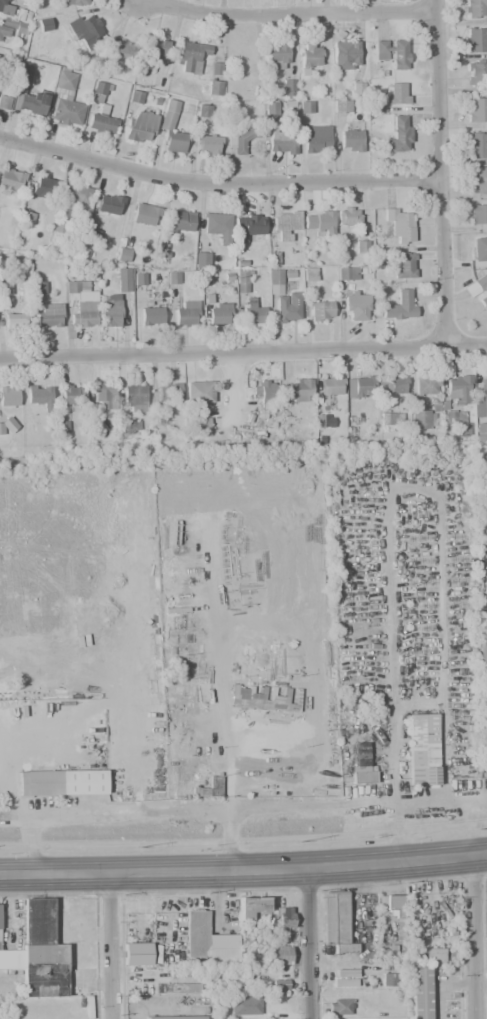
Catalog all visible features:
building: (79, 2)
building: (5, 8)
building: (474, 9)
road: (289, 14)
building: (44, 25)
building: (10, 26)
building: (84, 29)
building: (476, 40)
building: (156, 47)
building: (120, 51)
building: (392, 52)
building: (345, 55)
building: (190, 56)
building: (276, 56)
building: (310, 56)
building: (238, 60)
building: (476, 73)
building: (318, 82)
building: (285, 87)
building: (214, 88)
building: (97, 91)
building: (397, 93)
building: (28, 96)
building: (66, 100)
building: (4, 103)
building: (341, 106)
building: (476, 109)
building: (99, 119)
building: (140, 126)
building: (170, 128)
building: (398, 135)
building: (239, 138)
building: (316, 138)
building: (281, 141)
building: (350, 141)
building: (208, 144)
building: (478, 145)
road: (439, 172)
building: (478, 178)
building: (11, 179)
road: (217, 182)
building: (44, 188)
building: (76, 193)
building: (109, 204)
building: (146, 213)
building: (478, 214)
building: (347, 215)
building: (179, 220)
building: (318, 222)
building: (284, 225)
building: (398, 225)
building: (217, 226)
building: (246, 226)
building: (477, 249)
building: (122, 255)
building: (201, 259)
building: (404, 265)
building: (346, 273)
building: (309, 274)
building: (173, 278)
building: (121, 279)
building: (242, 281)
building: (274, 281)
building: (77, 287)
building: (479, 287)
building: (399, 305)
building: (287, 306)
building: (354, 307)
building: (321, 311)
building: (251, 312)
building: (111, 313)
building: (187, 313)
building: (216, 313)
building: (48, 315)
building: (151, 316)
building: (81, 317)
building: (15, 320)
road: (243, 351)
building: (392, 384)
building: (427, 385)
building: (331, 386)
building: (361, 386)
road: (233, 387)
building: (299, 389)
building: (459, 389)
building: (199, 392)
building: (169, 393)
building: (265, 393)
building: (72, 394)
building: (39, 395)
building: (104, 395)
building: (9, 396)
building: (134, 398)
building: (481, 399)
building: (425, 419)
building: (327, 420)
building: (388, 421)
building: (8, 425)
building: (129, 426)
building: (203, 426)
building: (481, 432)
building: (486, 622)
building: (482, 654)
building: (277, 702)
road: (75, 711)
building: (422, 749)
building: (484, 751)
building: (361, 766)
building: (62, 783)
building: (208, 788)
road: (148, 811)
road: (470, 820)
road: (396, 825)
railway: (229, 827)
power tower: (477, 829)
railway: (243, 833)
road: (228, 840)
power tower: (299, 842)
power tower: (138, 847)
road: (243, 872)
building: (394, 907)
building: (252, 908)
building: (284, 919)
building: (336, 923)
building: (196, 934)
road: (473, 938)
road: (313, 945)
road: (115, 946)
building: (42, 952)
building: (386, 952)
building: (136, 954)
building: (278, 955)
building: (222, 956)
building: (433, 956)
building: (11, 959)
power tower: (484, 965)
building: (344, 978)
building: (387, 979)
building: (279, 985)
building: (176, 987)
building: (419, 992)
building: (243, 1003)
building: (340, 1006)
building: (175, 1017)

